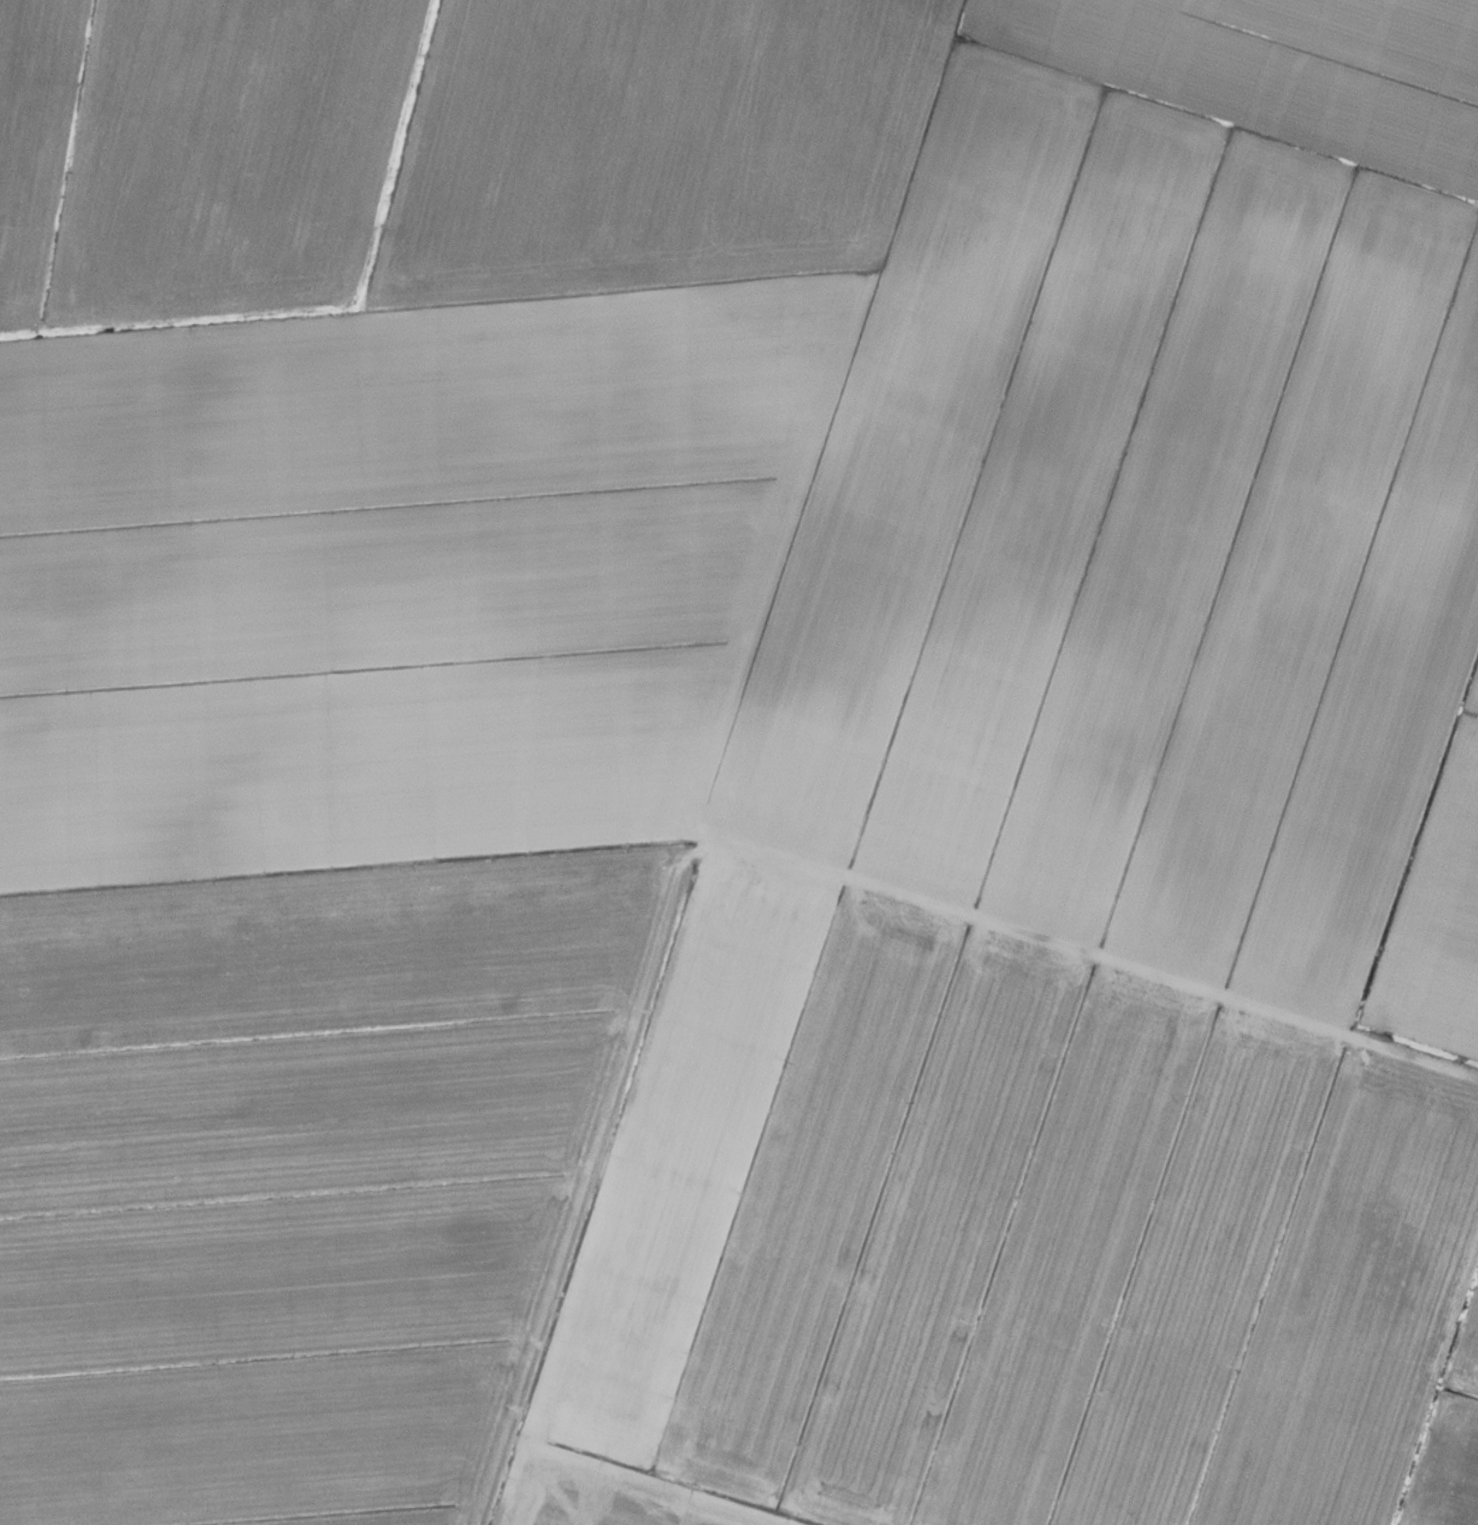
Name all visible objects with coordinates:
building: (1188, 679)

